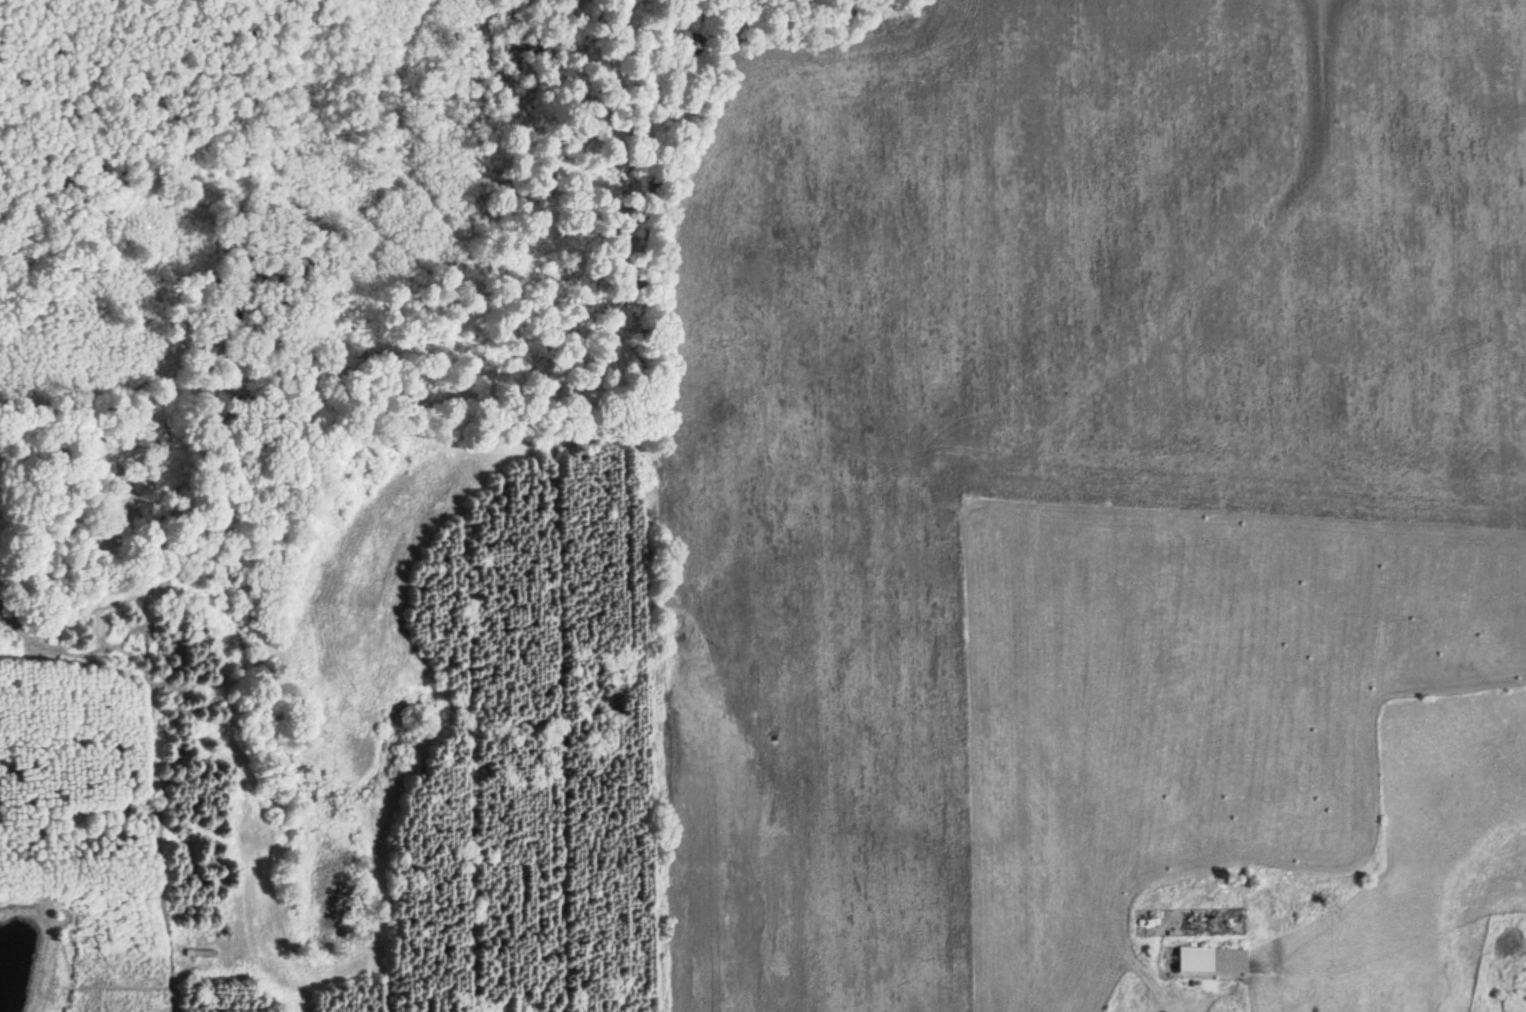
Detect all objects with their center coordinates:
building: (1213, 962)

